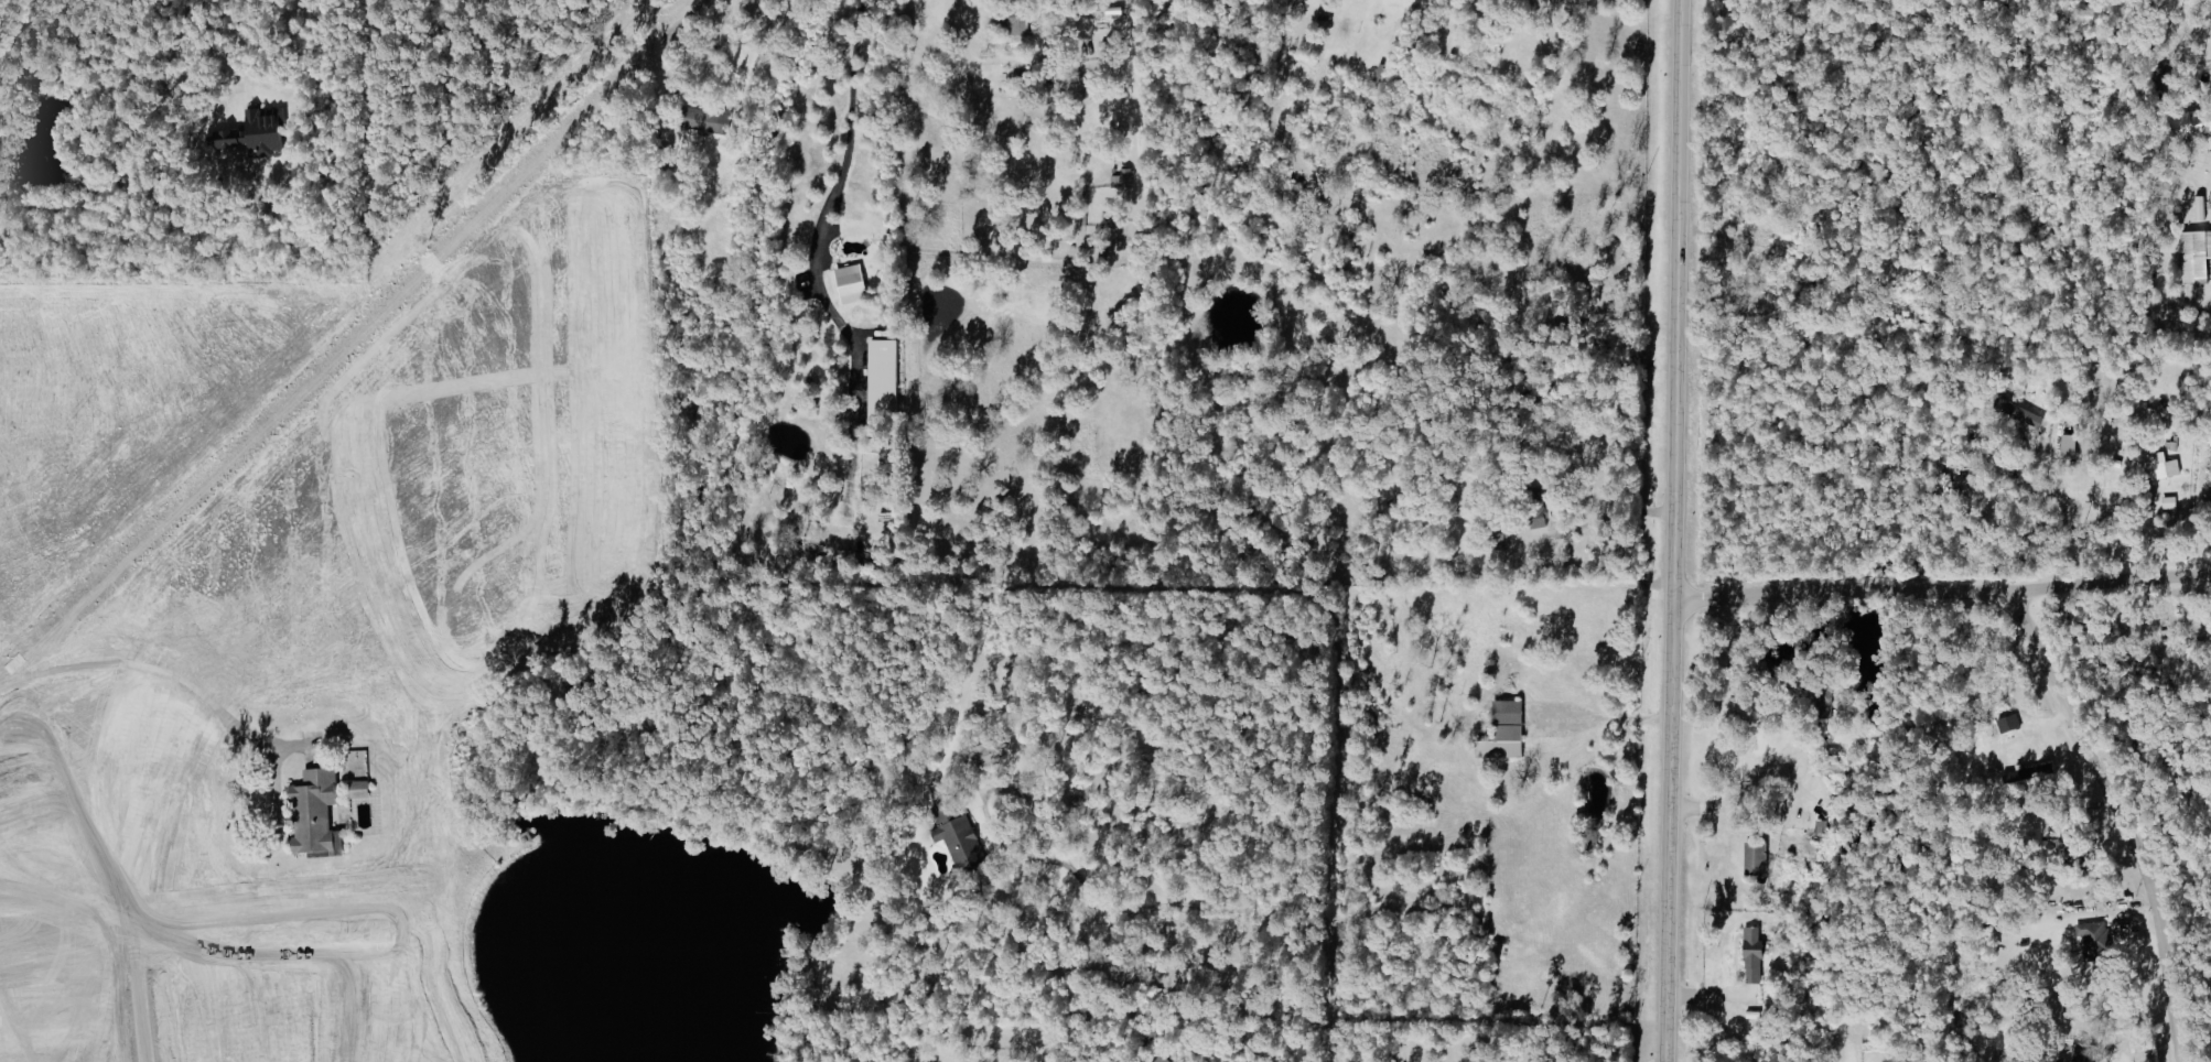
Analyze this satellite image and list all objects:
road: (703, 7)
road: (1491, 15)
road: (229, 58)
road: (1132, 95)
building: (708, 121)
building: (2194, 123)
building: (252, 139)
road: (843, 163)
building: (2202, 208)
building: (2197, 254)
building: (853, 284)
building: (886, 379)
building: (2023, 414)
building: (2071, 445)
building: (2163, 466)
road: (1618, 517)
road: (1672, 531)
road: (1941, 593)
road: (151, 672)
building: (1820, 695)
road: (1617, 720)
building: (2009, 724)
building: (1506, 733)
building: (1832, 762)
building: (2031, 774)
road: (1738, 789)
building: (360, 790)
building: (316, 815)
road: (2121, 820)
building: (959, 836)
building: (2069, 842)
building: (1757, 859)
road: (1255, 908)
building: (1754, 955)
building: (1161, 1060)

